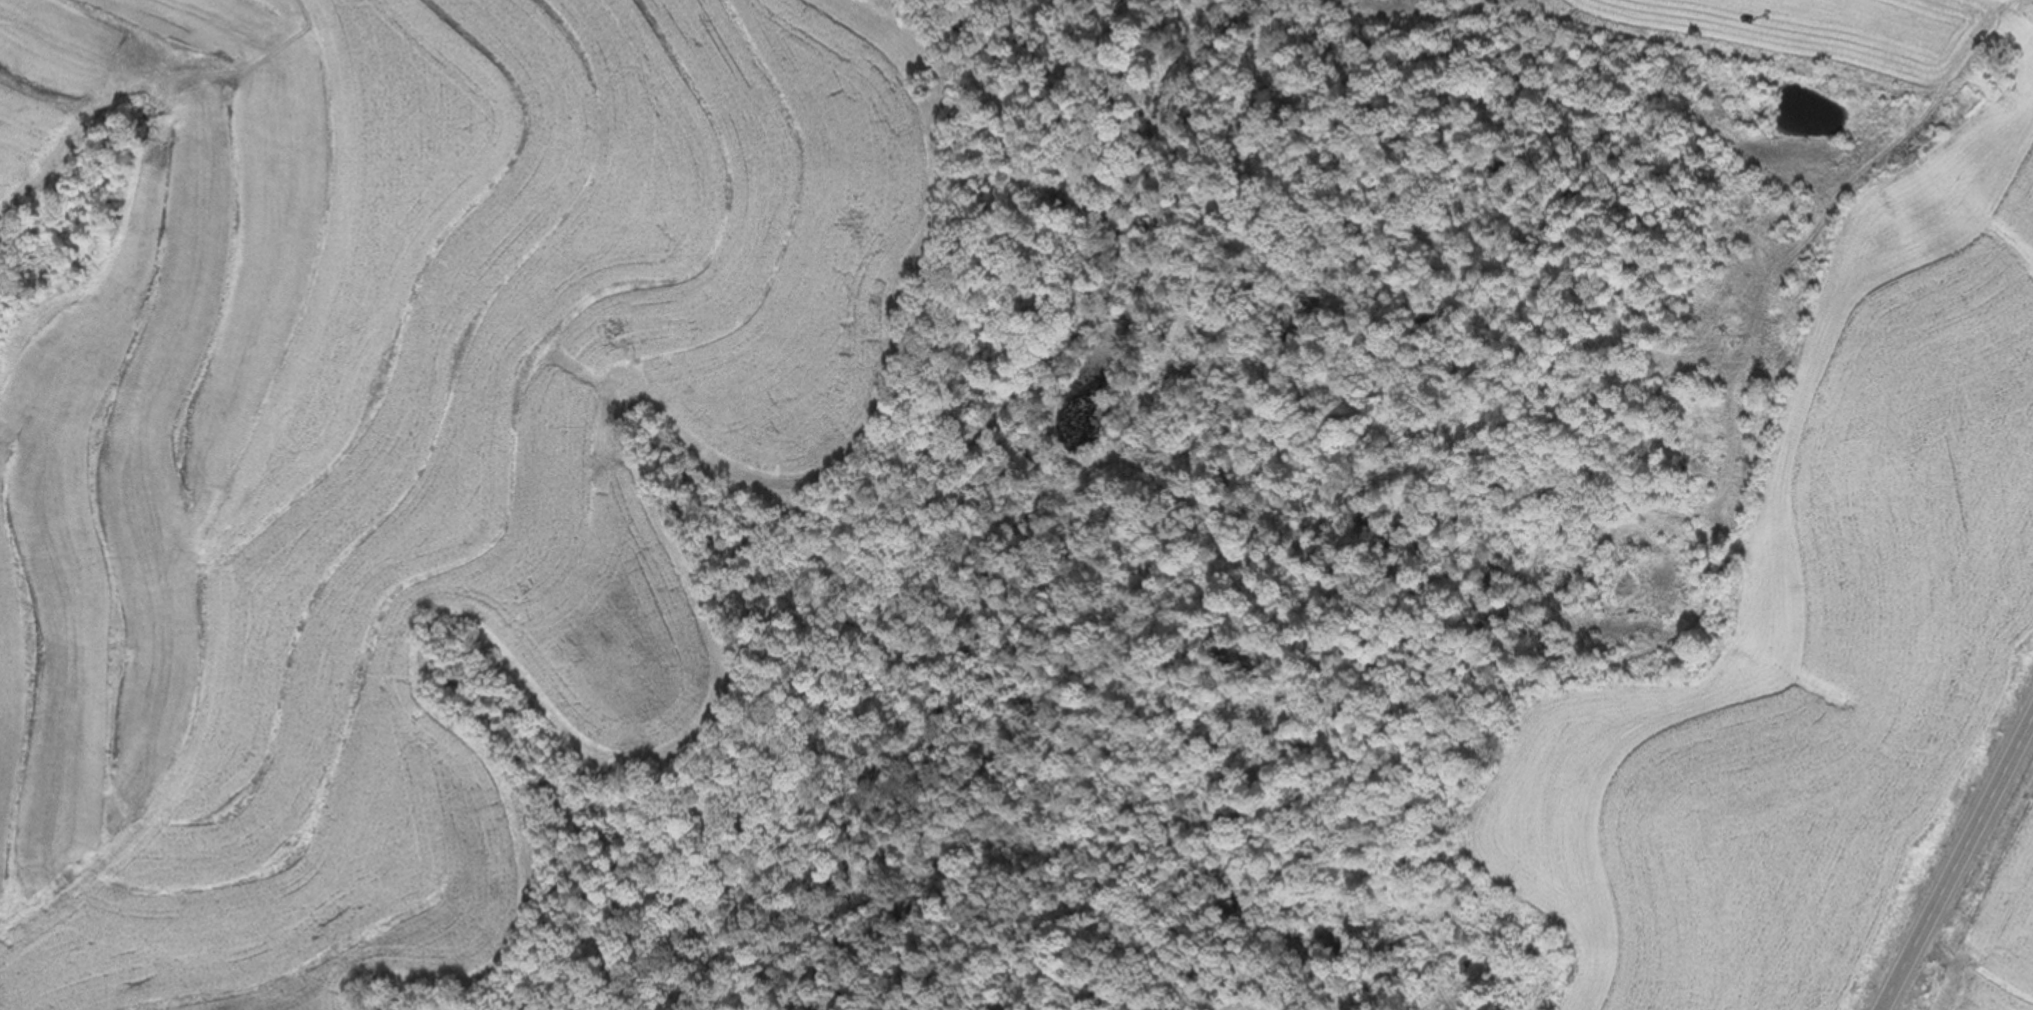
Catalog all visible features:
road: (1958, 865)

